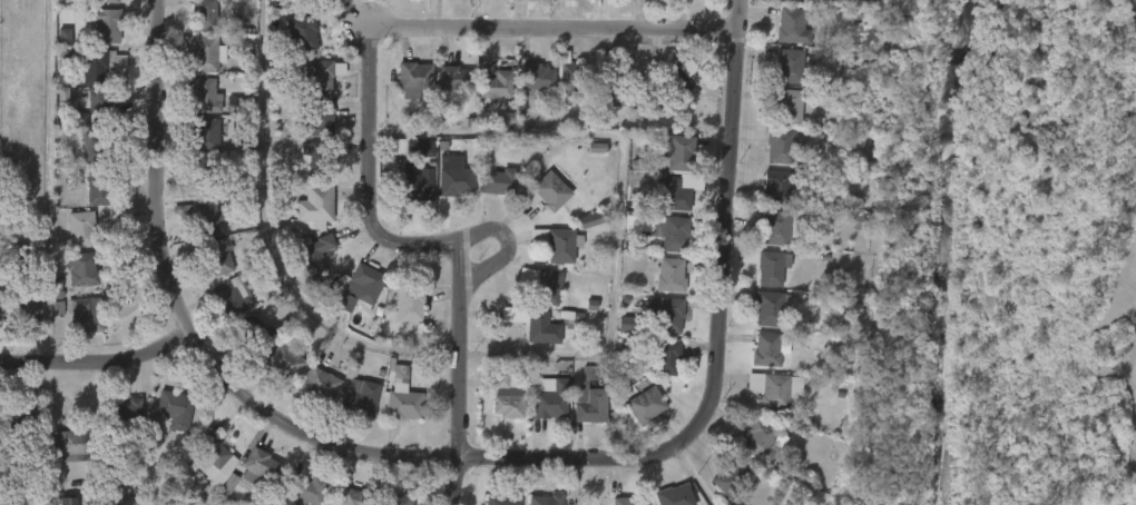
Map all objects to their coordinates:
building: (799, 0)
building: (109, 1)
building: (317, 1)
building: (207, 16)
building: (107, 26)
building: (792, 27)
road: (558, 29)
building: (302, 32)
building: (63, 36)
building: (206, 52)
building: (789, 59)
building: (95, 62)
building: (320, 75)
building: (417, 75)
building: (537, 76)
building: (459, 78)
building: (574, 78)
building: (498, 85)
building: (617, 87)
building: (680, 89)
building: (62, 98)
building: (213, 98)
building: (794, 101)
building: (102, 105)
building: (80, 119)
building: (323, 119)
building: (207, 135)
building: (94, 145)
building: (780, 146)
building: (597, 148)
building: (419, 149)
building: (679, 151)
building: (322, 158)
building: (454, 175)
building: (203, 176)
building: (844, 180)
road: (49, 181)
building: (414, 182)
building: (498, 182)
building: (97, 186)
building: (778, 187)
building: (550, 191)
building: (674, 192)
building: (314, 204)
building: (207, 216)
building: (590, 220)
building: (770, 222)
building: (861, 222)
building: (80, 227)
building: (670, 231)
road: (503, 241)
building: (557, 242)
road: (449, 248)
building: (21, 254)
building: (316, 255)
building: (214, 259)
building: (771, 267)
building: (85, 270)
building: (667, 275)
building: (369, 281)
building: (552, 286)
building: (231, 297)
building: (27, 301)
building: (409, 304)
building: (3, 307)
building: (771, 307)
building: (667, 314)
building: (88, 315)
road: (188, 320)
building: (541, 328)
building: (258, 333)
road: (725, 338)
building: (770, 349)
road: (512, 355)
building: (666, 356)
building: (286, 358)
road: (99, 362)
building: (503, 377)
building: (321, 384)
building: (774, 388)
building: (359, 398)
building: (550, 399)
building: (588, 399)
building: (646, 404)
building: (403, 405)
building: (506, 406)
building: (174, 408)
building: (126, 417)
building: (22, 420)
building: (764, 439)
building: (72, 447)
building: (213, 450)
building: (258, 465)
road: (694, 475)
building: (737, 478)
building: (306, 491)
building: (674, 495)
building: (353, 496)
building: (395, 499)
building: (501, 499)
building: (546, 499)
building: (627, 501)
building: (65, 502)

